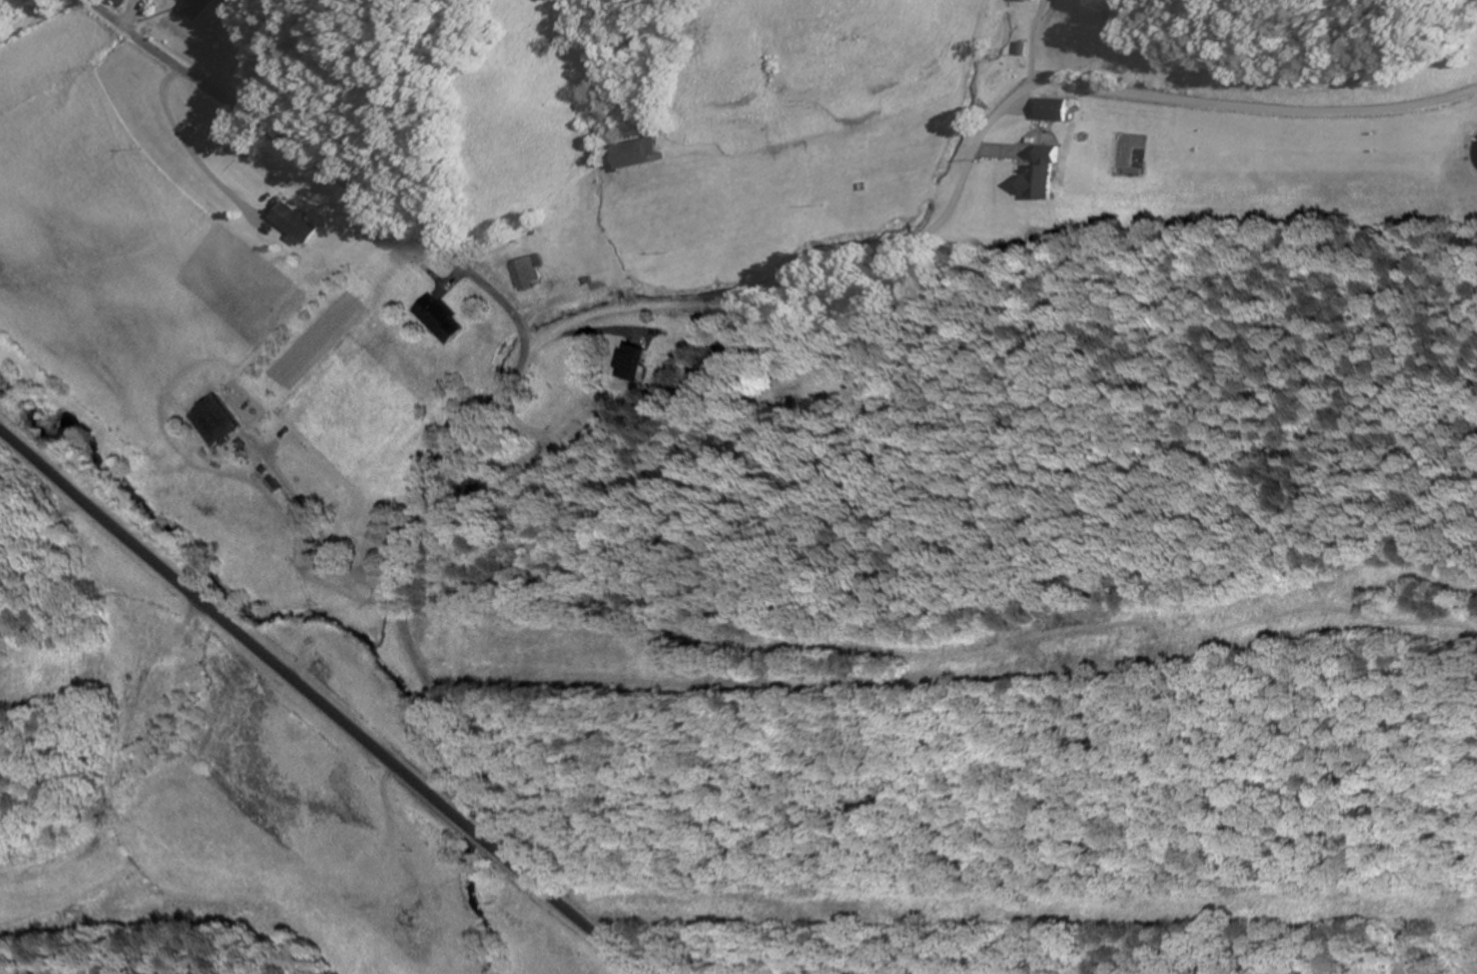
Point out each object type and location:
building: (121, 1)
building: (197, 8)
building: (988, 24)
building: (1053, 109)
road: (979, 146)
building: (638, 152)
building: (1042, 178)
building: (293, 221)
building: (528, 272)
building: (439, 319)
building: (630, 362)
road: (520, 366)
building: (214, 421)
road: (319, 702)

